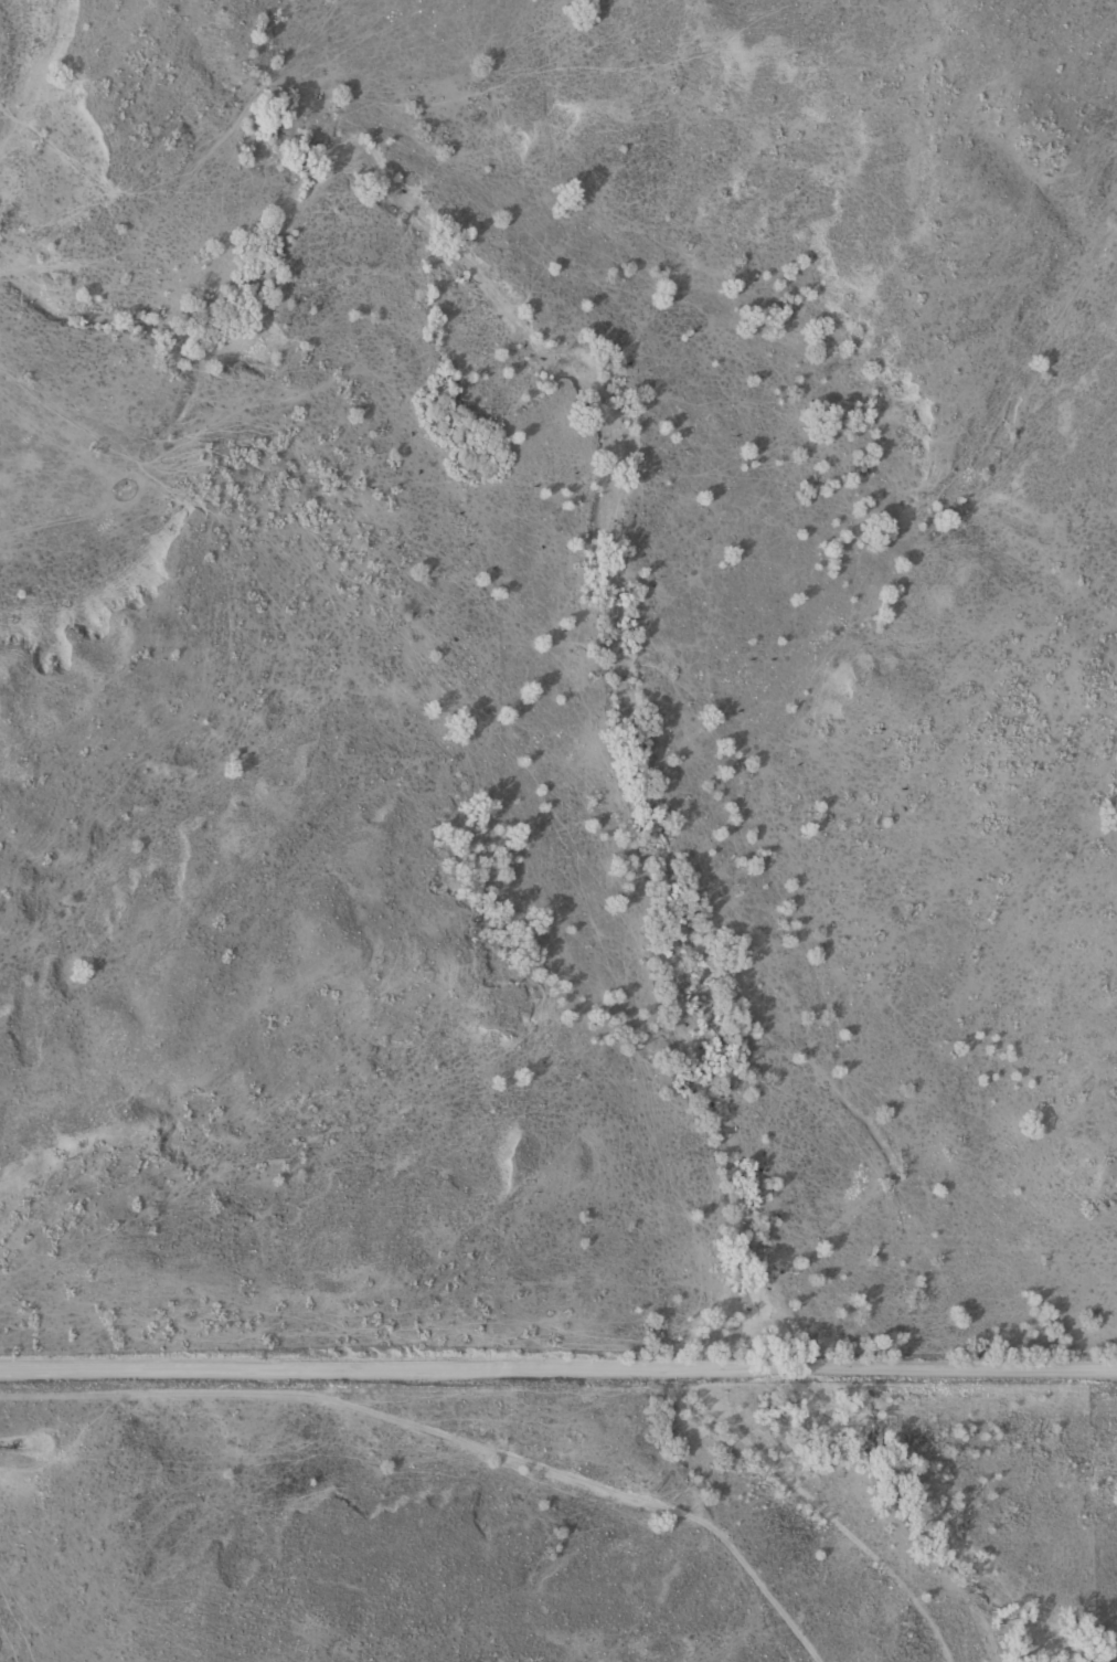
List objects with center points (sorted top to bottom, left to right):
road: (558, 1368)

